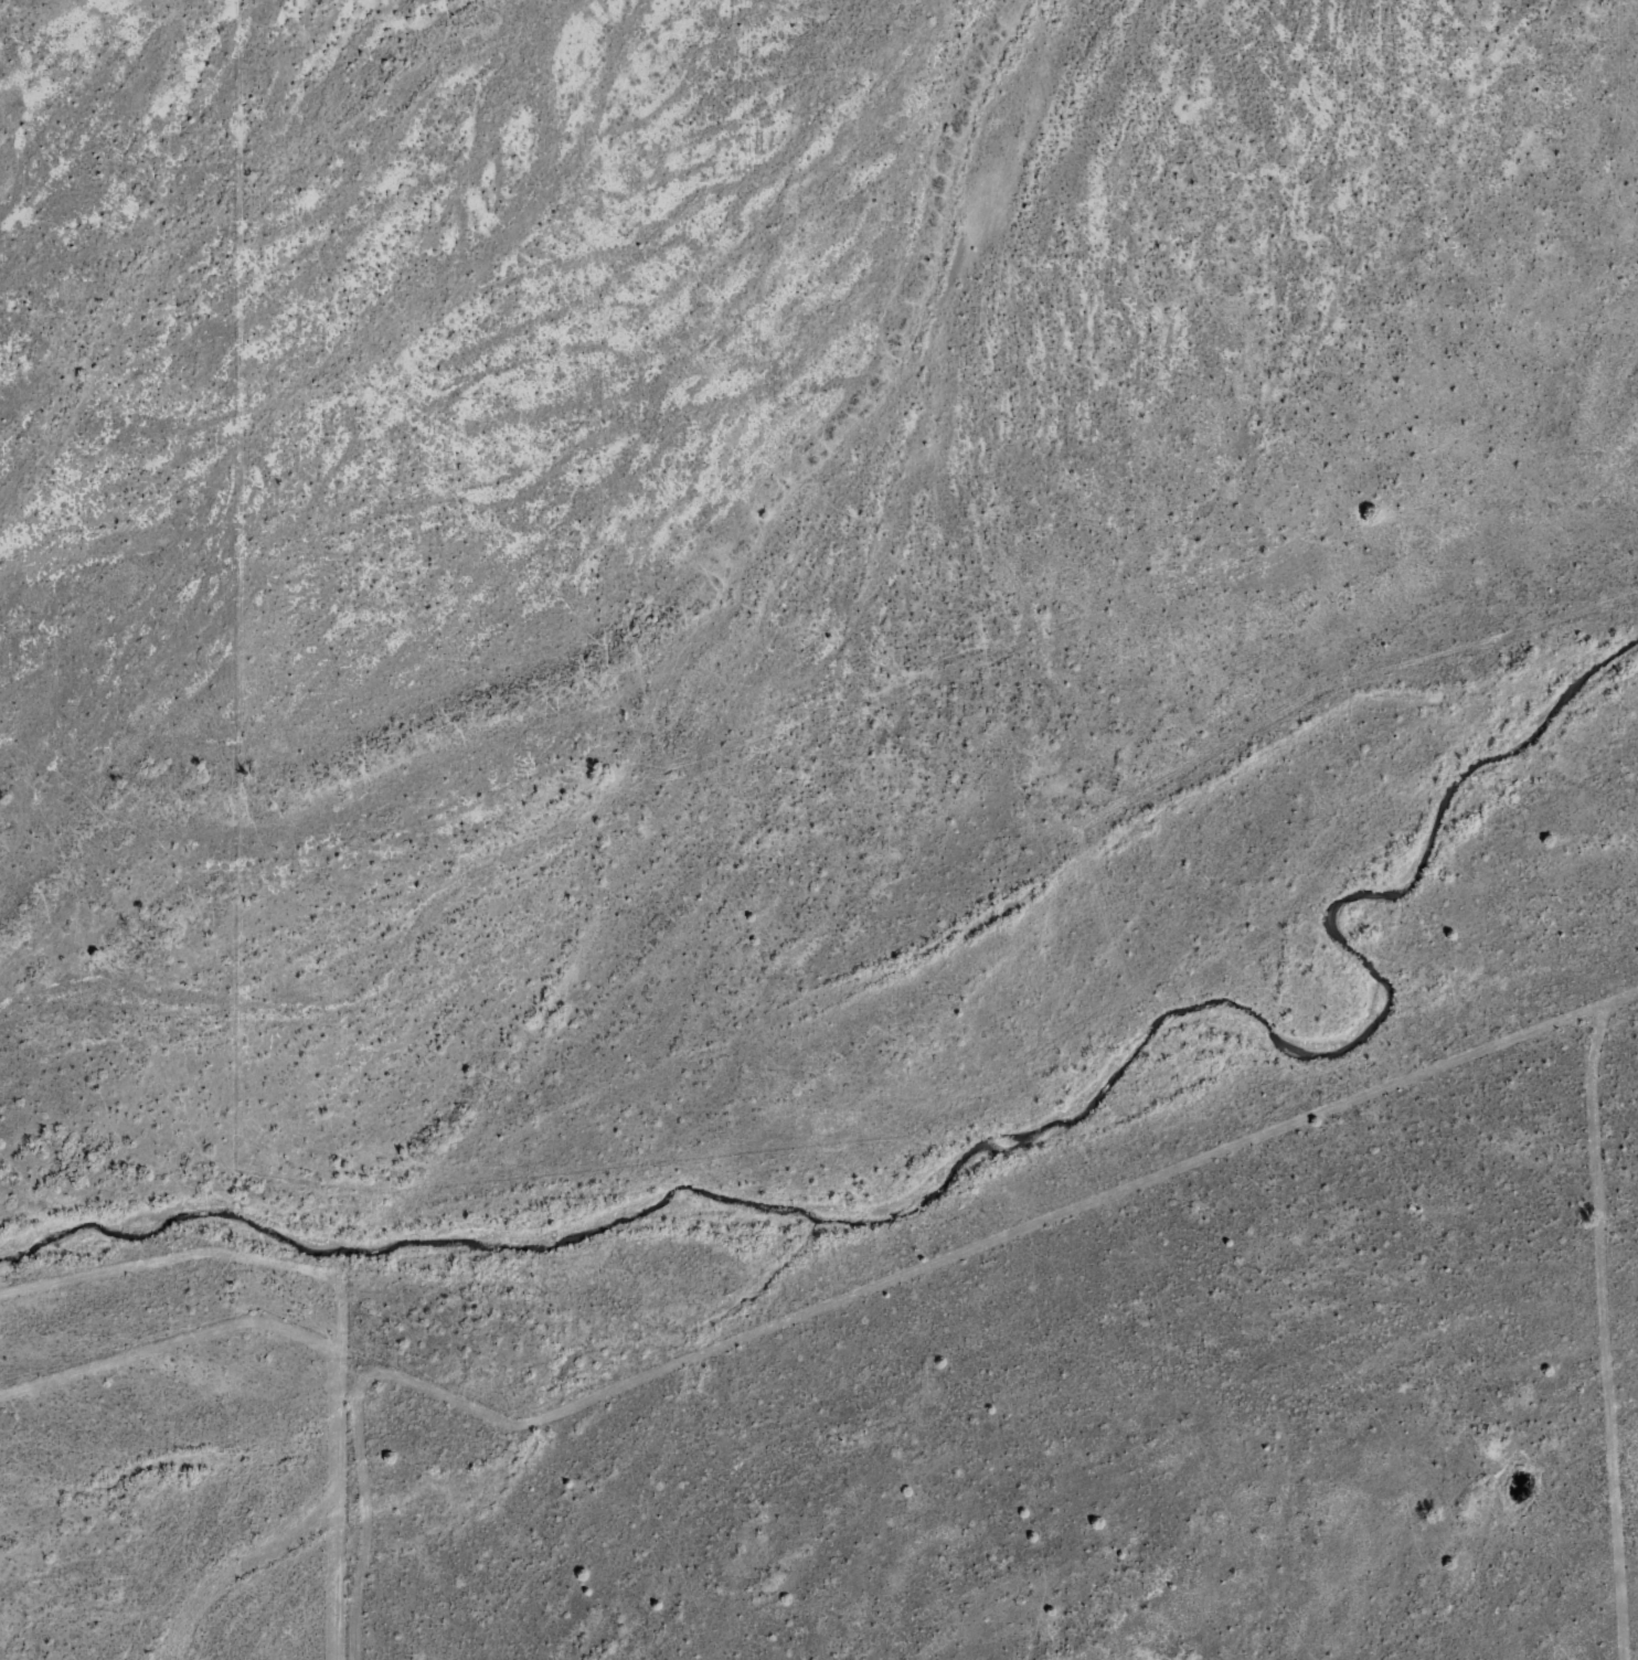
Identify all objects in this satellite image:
river: (970, 1158)

